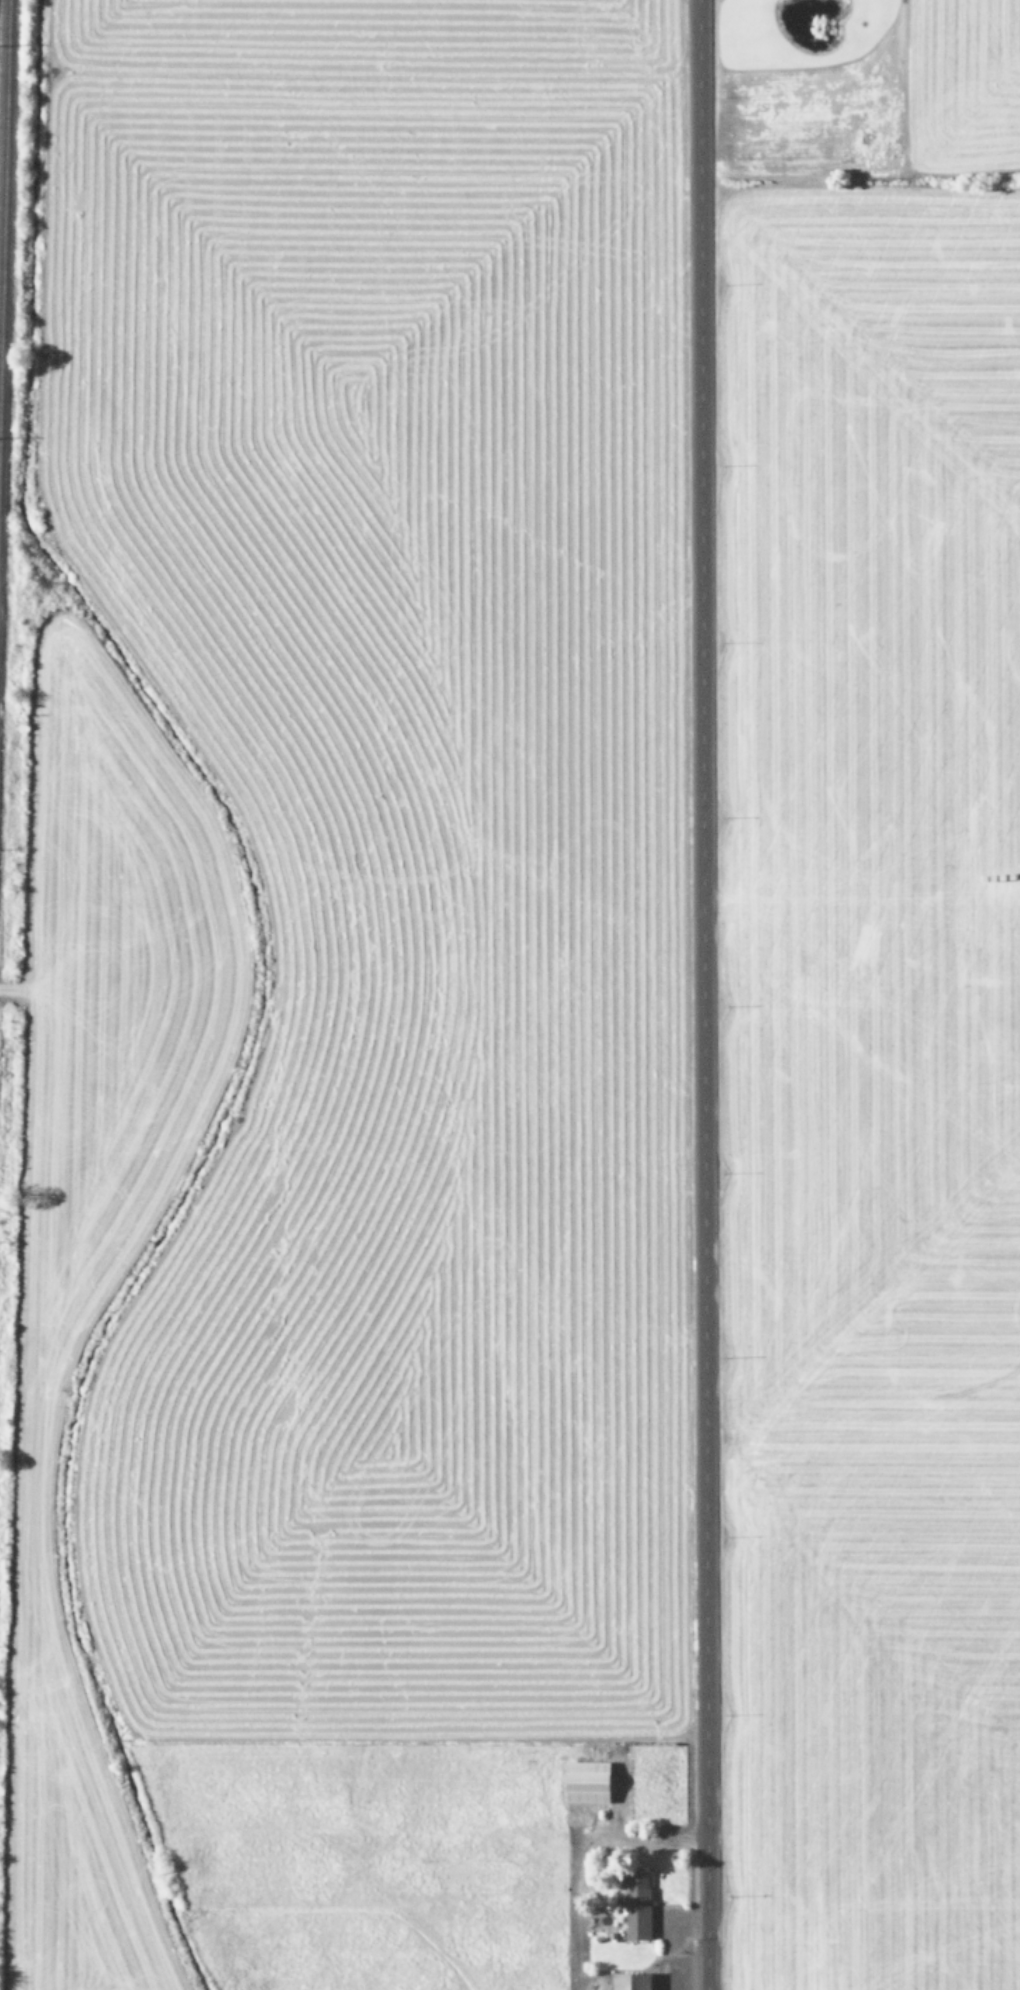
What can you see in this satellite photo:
railway: (1, 107)
road: (697, 994)
crop: (517, 1001)
building: (634, 1981)

